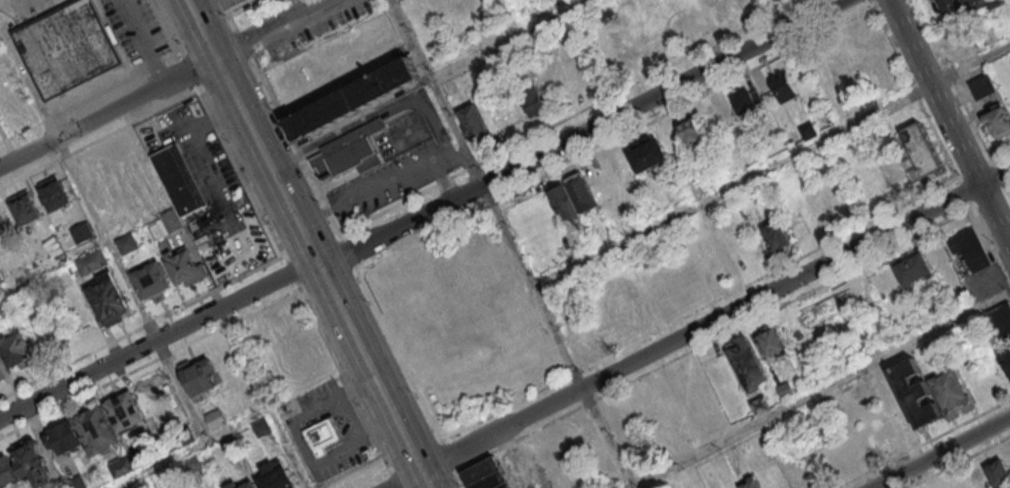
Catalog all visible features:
building: (236, 3)
building: (740, 3)
building: (971, 3)
building: (950, 6)
road: (229, 15)
building: (683, 22)
road: (168, 28)
road: (203, 29)
road: (274, 29)
road: (3, 39)
building: (987, 39)
road: (511, 40)
road: (244, 45)
building: (66, 46)
road: (191, 72)
building: (834, 77)
parking lot: (110, 80)
building: (981, 85)
building: (781, 87)
road: (113, 90)
road: (932, 91)
road: (437, 92)
building: (351, 97)
building: (533, 99)
building: (744, 104)
road: (108, 112)
road: (373, 116)
building: (998, 121)
building: (475, 126)
building: (690, 132)
road: (22, 133)
road: (582, 134)
road: (99, 139)
building: (344, 149)
building: (921, 150)
building: (644, 152)
parking lot: (392, 157)
road: (772, 167)
parking lot: (202, 171)
building: (179, 179)
road: (442, 179)
road: (76, 184)
building: (598, 184)
road: (366, 192)
building: (581, 192)
building: (54, 193)
building: (564, 202)
building: (843, 206)
building: (25, 207)
road: (994, 215)
building: (171, 220)
building: (3, 222)
building: (81, 232)
building: (777, 237)
building: (129, 245)
building: (971, 248)
road: (346, 250)
road: (51, 261)
building: (92, 261)
building: (184, 266)
building: (913, 270)
road: (323, 273)
building: (150, 280)
road: (295, 280)
building: (109, 298)
road: (716, 319)
building: (1001, 321)
road: (141, 327)
road: (557, 336)
road: (158, 339)
building: (770, 341)
building: (16, 349)
building: (743, 355)
building: (1005, 357)
road: (150, 364)
building: (2, 373)
building: (199, 376)
building: (785, 390)
road: (821, 391)
building: (914, 392)
building: (950, 394)
building: (757, 401)
building: (125, 411)
building: (96, 430)
parking lot: (326, 430)
building: (319, 435)
building: (64, 436)
road: (190, 449)
road: (289, 449)
road: (939, 452)
road: (448, 457)
building: (32, 463)
building: (121, 466)
parking lot: (524, 467)
building: (7, 471)
building: (481, 471)
building: (997, 472)
building: (275, 476)
road: (403, 478)
road: (394, 479)
road: (459, 480)
building: (76, 481)
building: (492, 482)
building: (232, 483)
building: (959, 483)
building: (750, 484)
building: (505, 486)

